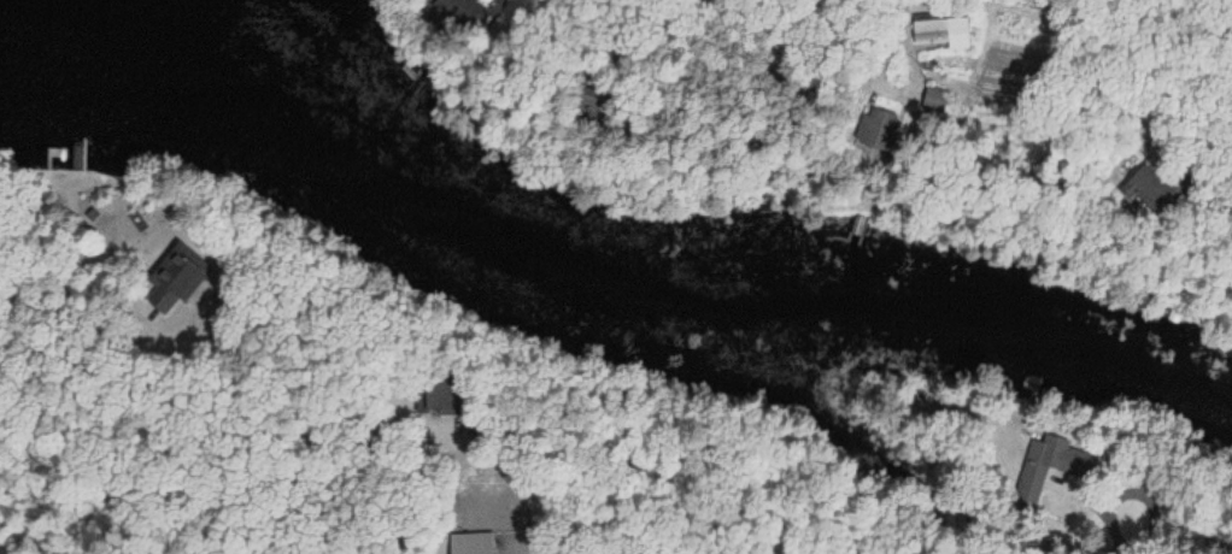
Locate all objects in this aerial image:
building: (456, 0)
building: (941, 33)
building: (870, 128)
building: (1145, 188)
building: (430, 397)
road: (444, 450)
building: (1049, 464)
building: (470, 543)

